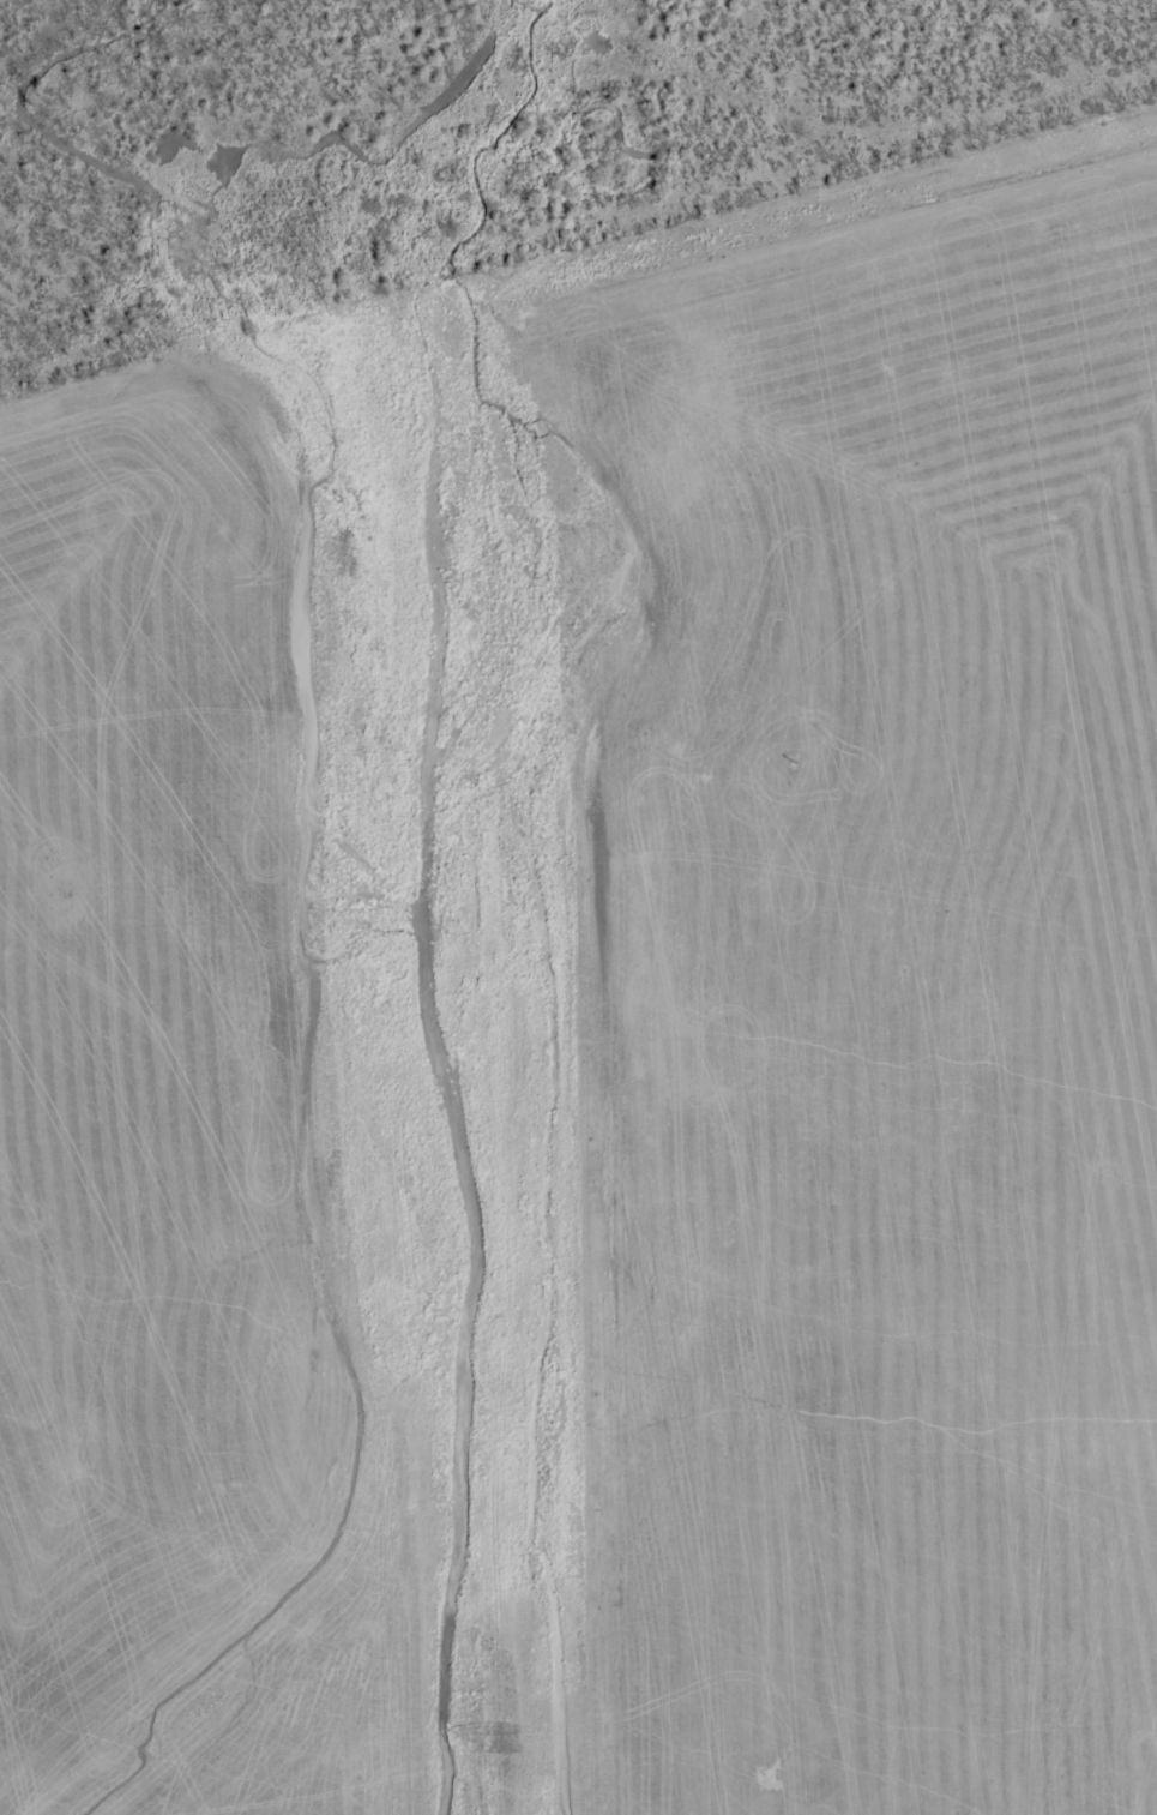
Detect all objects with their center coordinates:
road: (843, 900)

